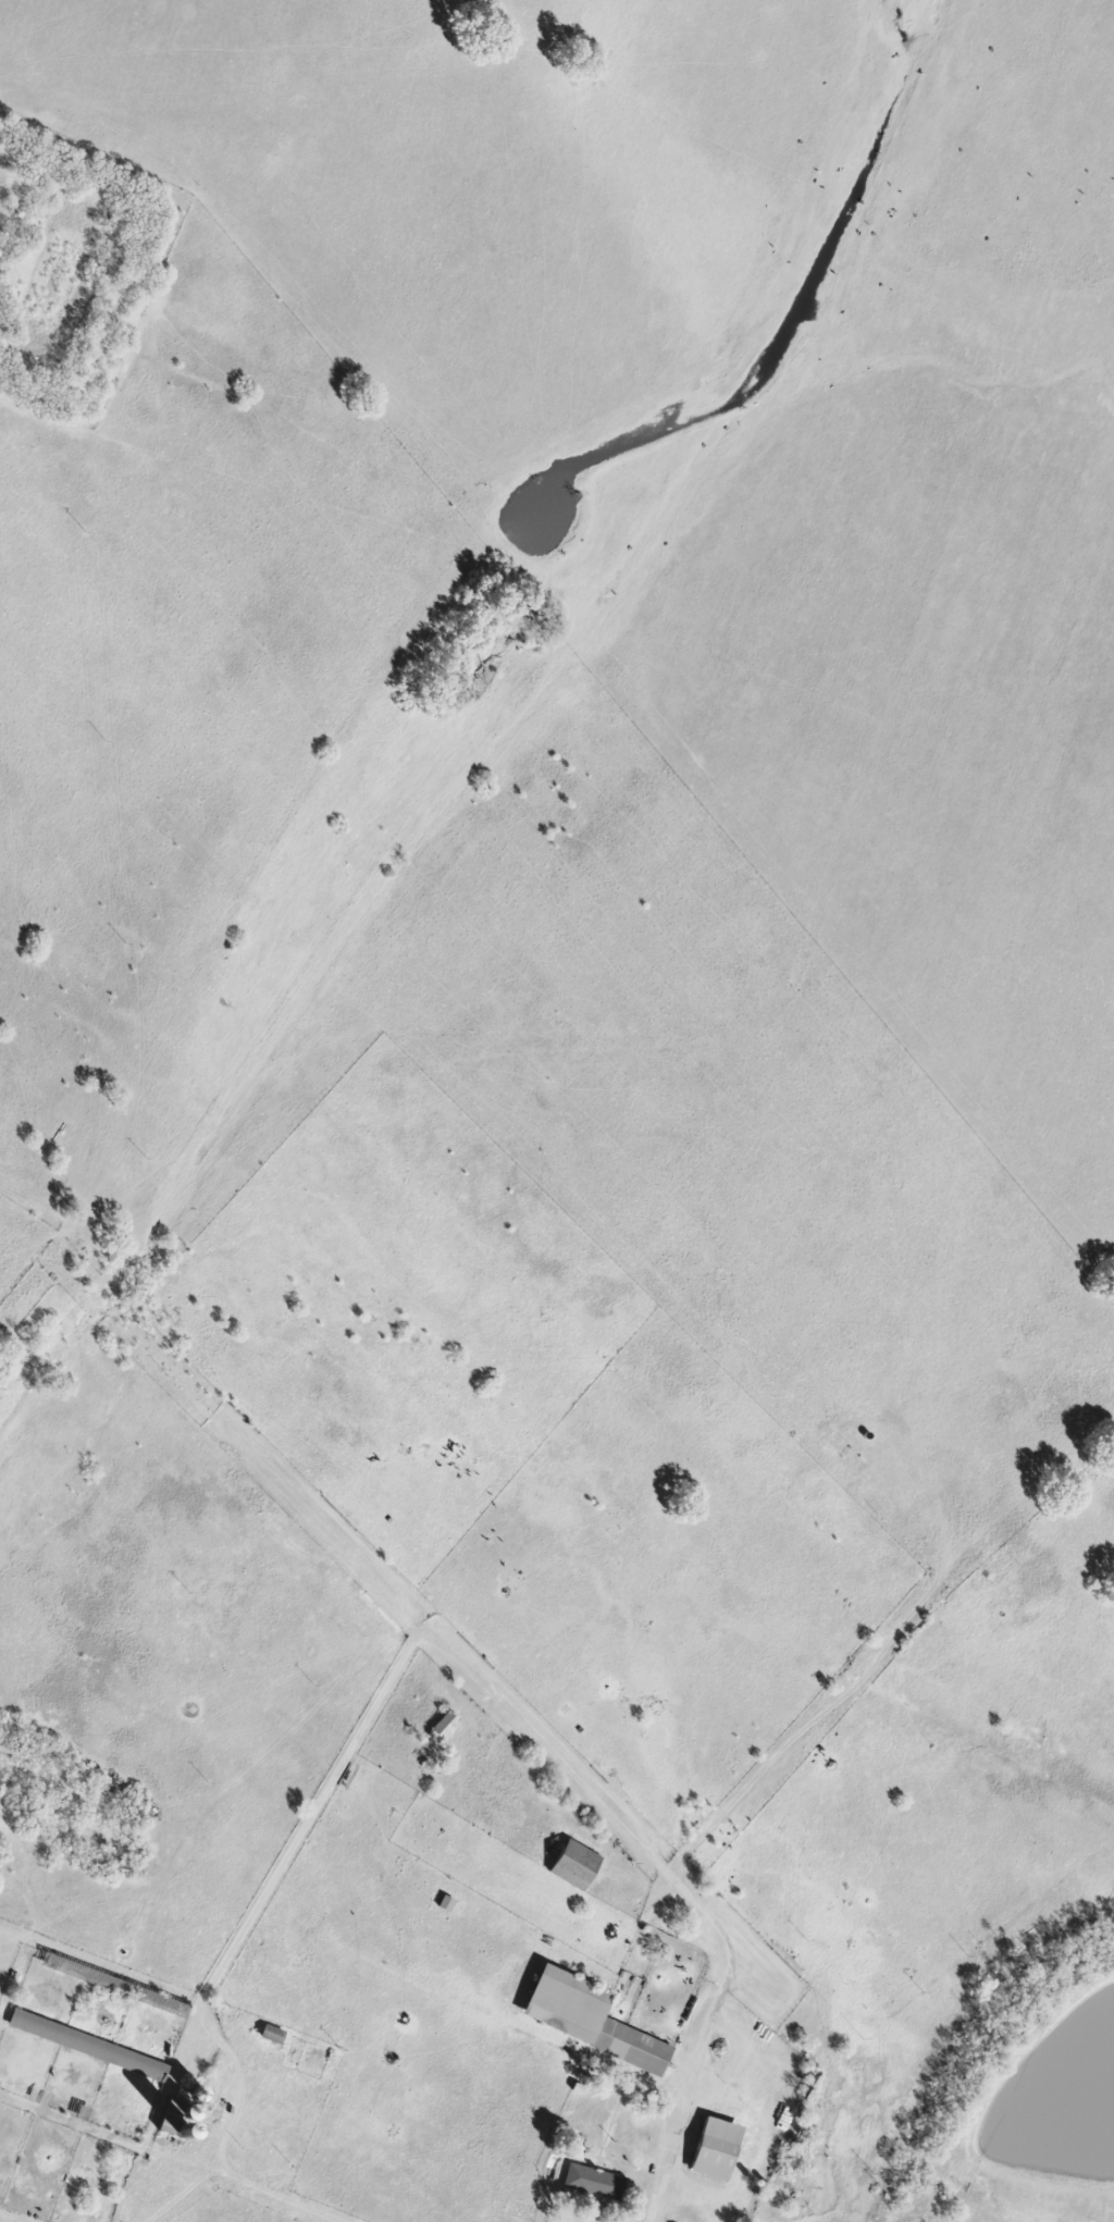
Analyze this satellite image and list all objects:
building: (444, 1724)
building: (572, 1863)
building: (589, 2019)
road: (694, 2100)
road: (754, 2143)
building: (714, 2148)
building: (591, 2180)
road: (282, 2197)
road: (698, 2197)

